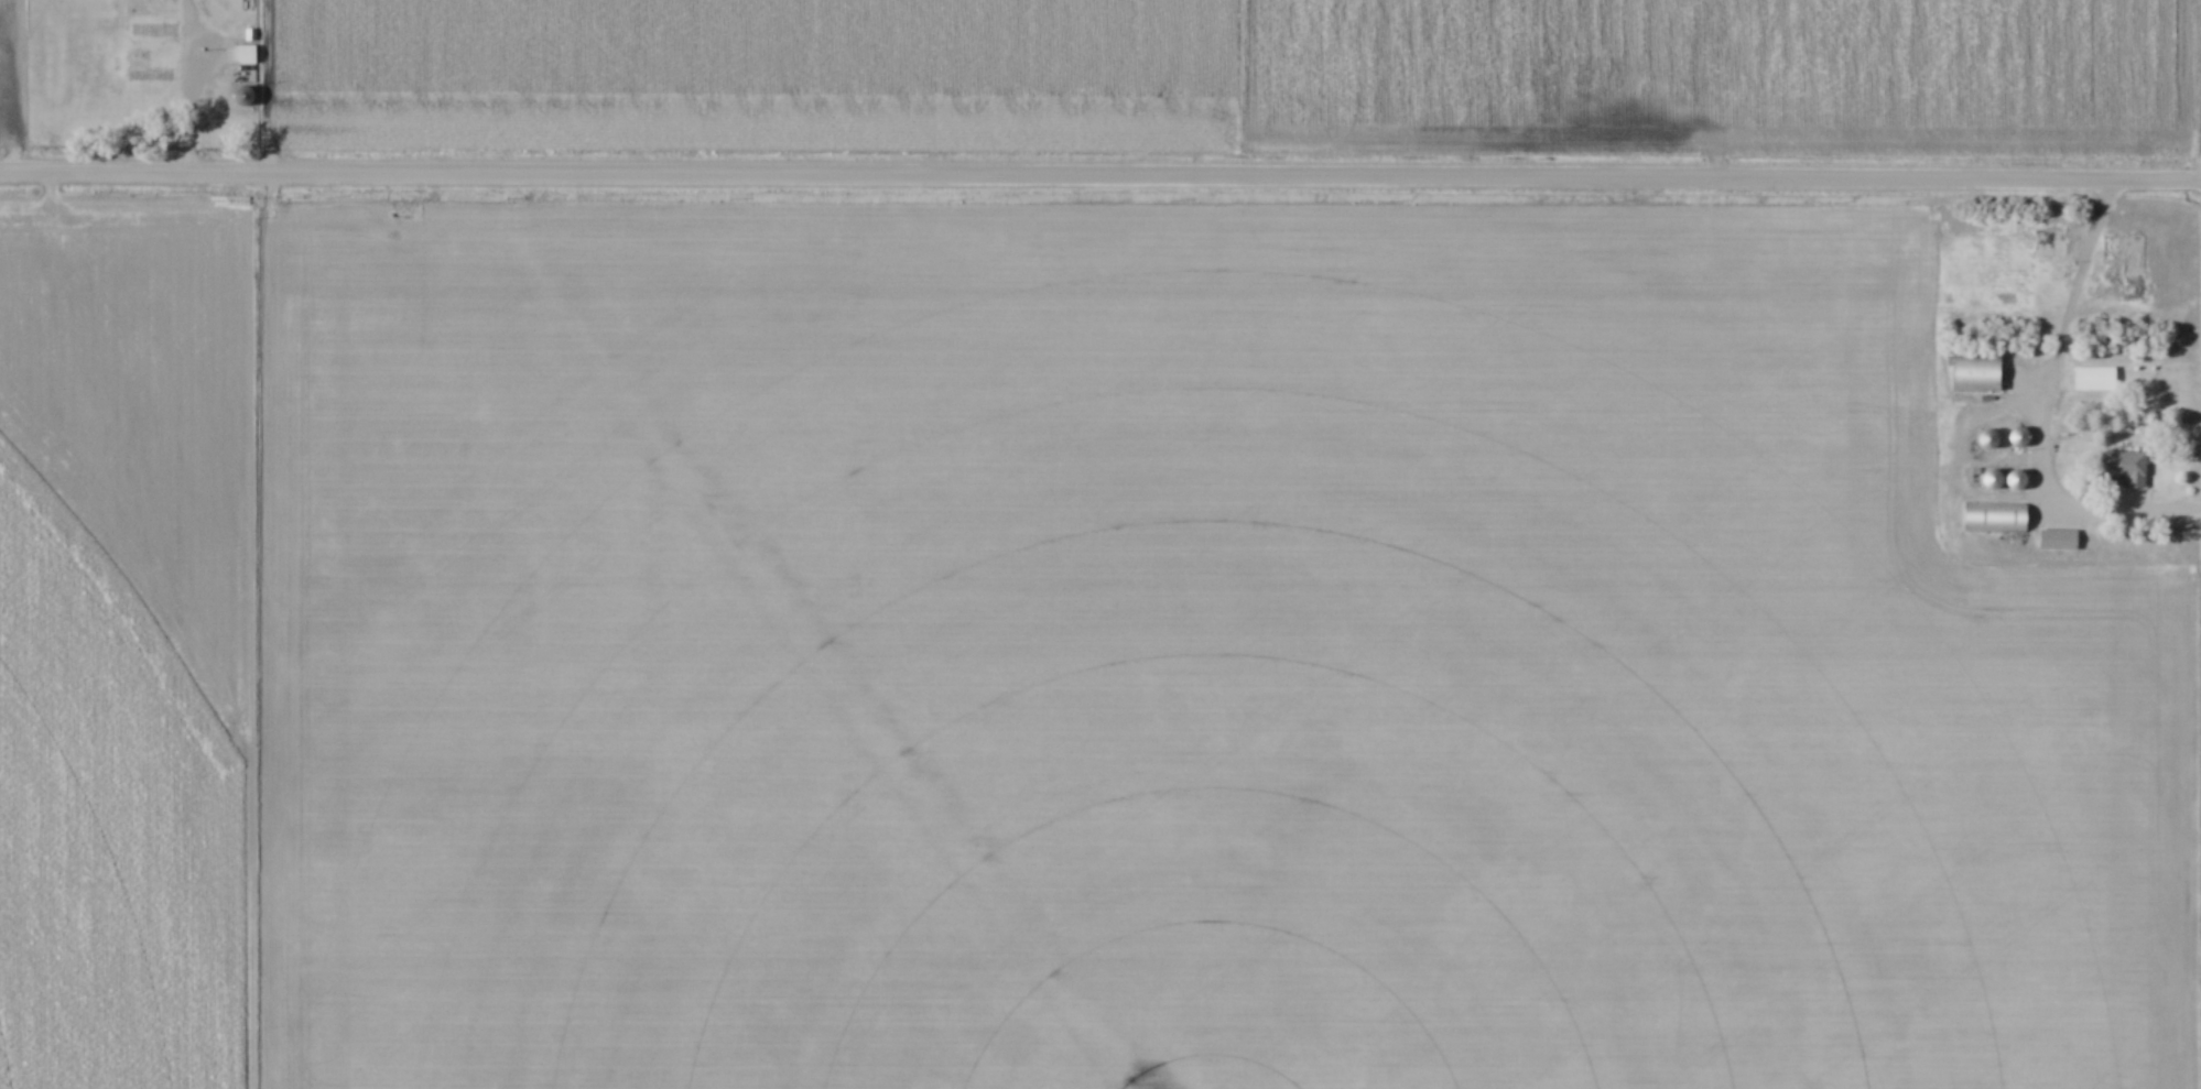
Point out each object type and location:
building: (221, 6)
building: (249, 39)
building: (245, 58)
road: (212, 66)
crop: (9, 69)
building: (149, 75)
crop: (1251, 79)
building: (243, 95)
silo: (242, 99)
road: (1100, 176)
building: (2105, 244)
building: (1973, 371)
building: (2089, 378)
road: (2041, 410)
silo: (2015, 436)
building: (2017, 436)
silo: (1983, 437)
building: (1987, 438)
building: (2126, 469)
silo: (2012, 477)
silo: (1986, 478)
building: (2016, 479)
building: (1991, 512)
building: (2053, 537)
crop: (1045, 660)

